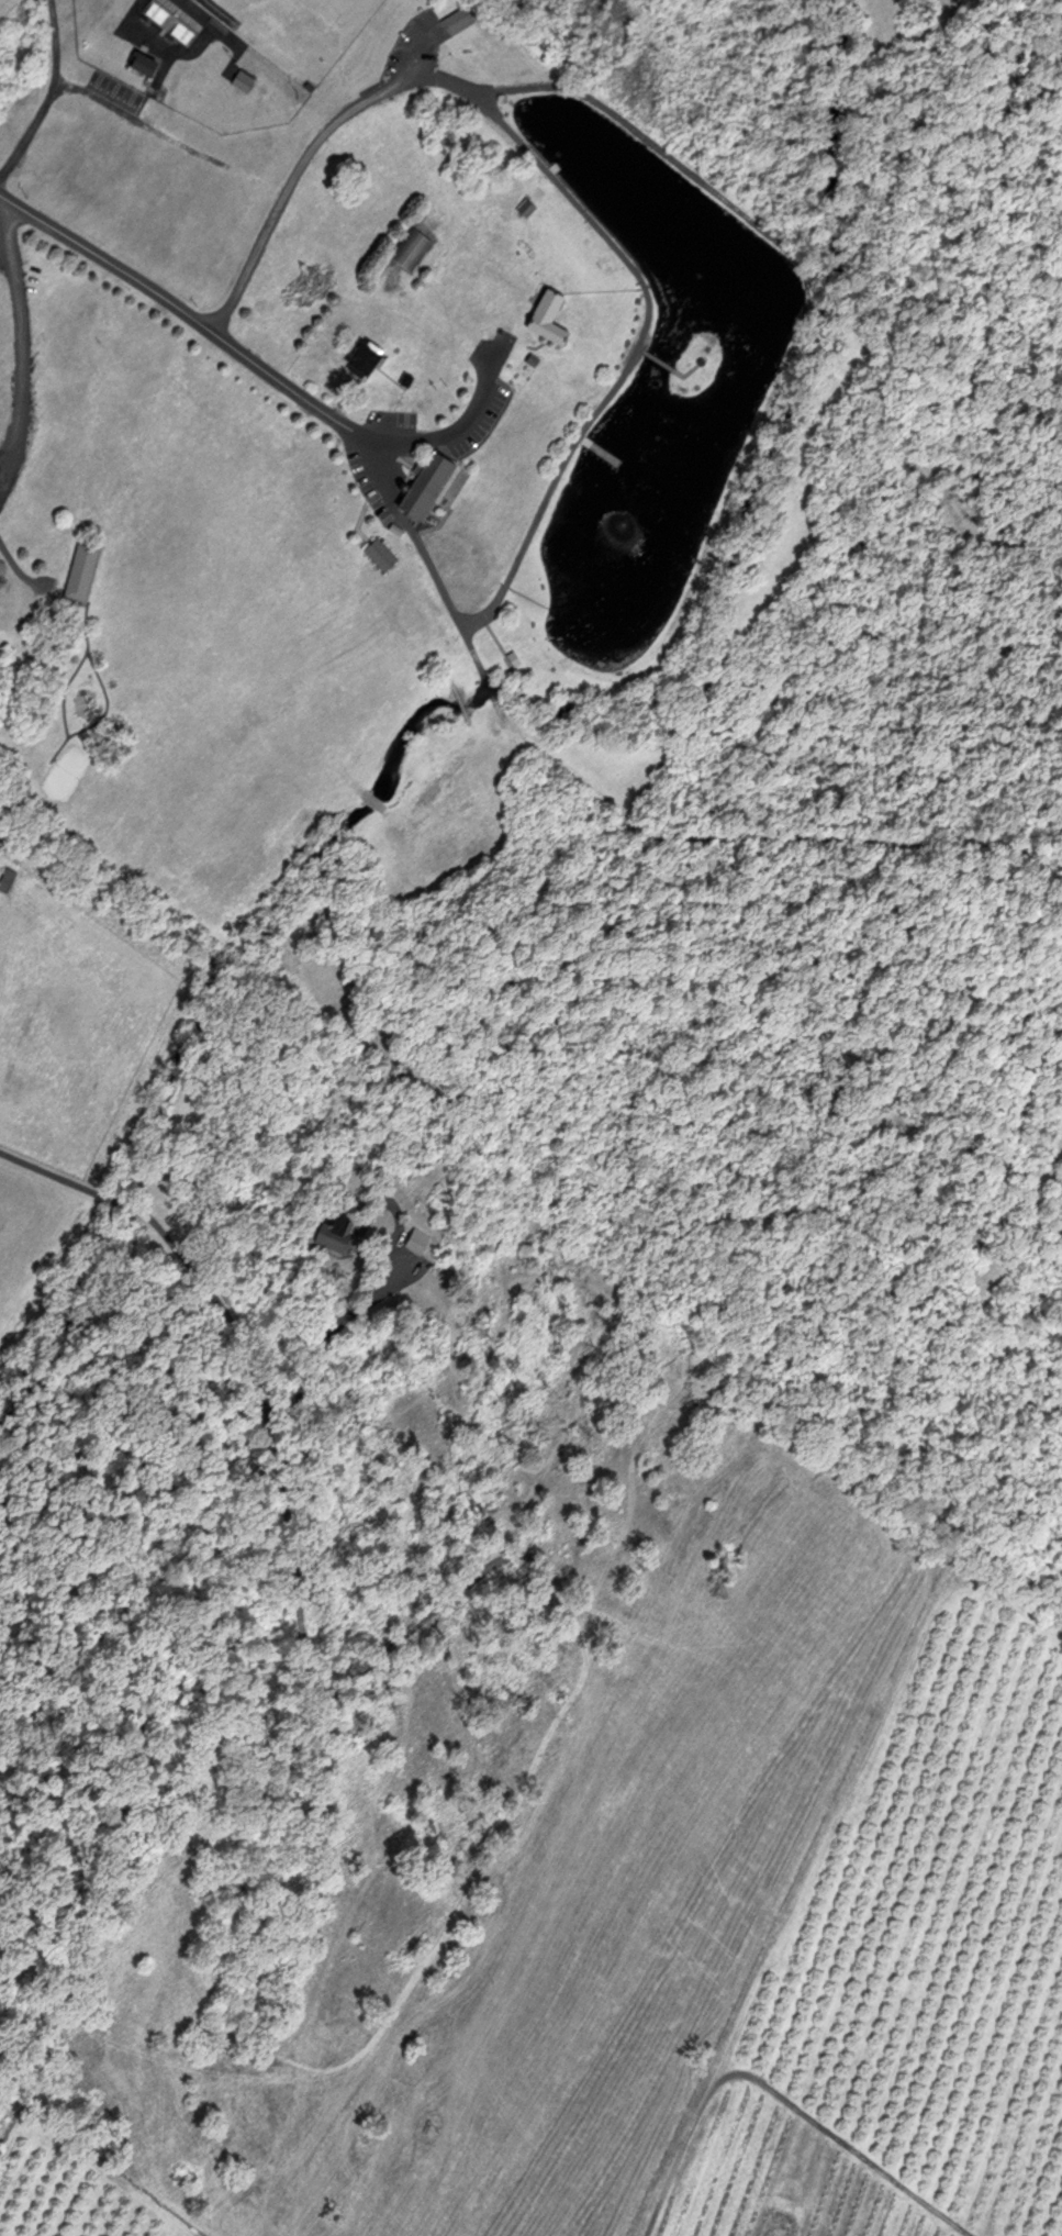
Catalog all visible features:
building: (172, 19)
building: (459, 19)
building: (148, 62)
building: (245, 79)
road: (66, 84)
road: (301, 160)
building: (413, 245)
building: (554, 315)
building: (373, 354)
road: (258, 364)
building: (433, 485)
building: (383, 554)
building: (83, 570)
building: (8, 879)
building: (336, 1231)
road: (217, 1319)

